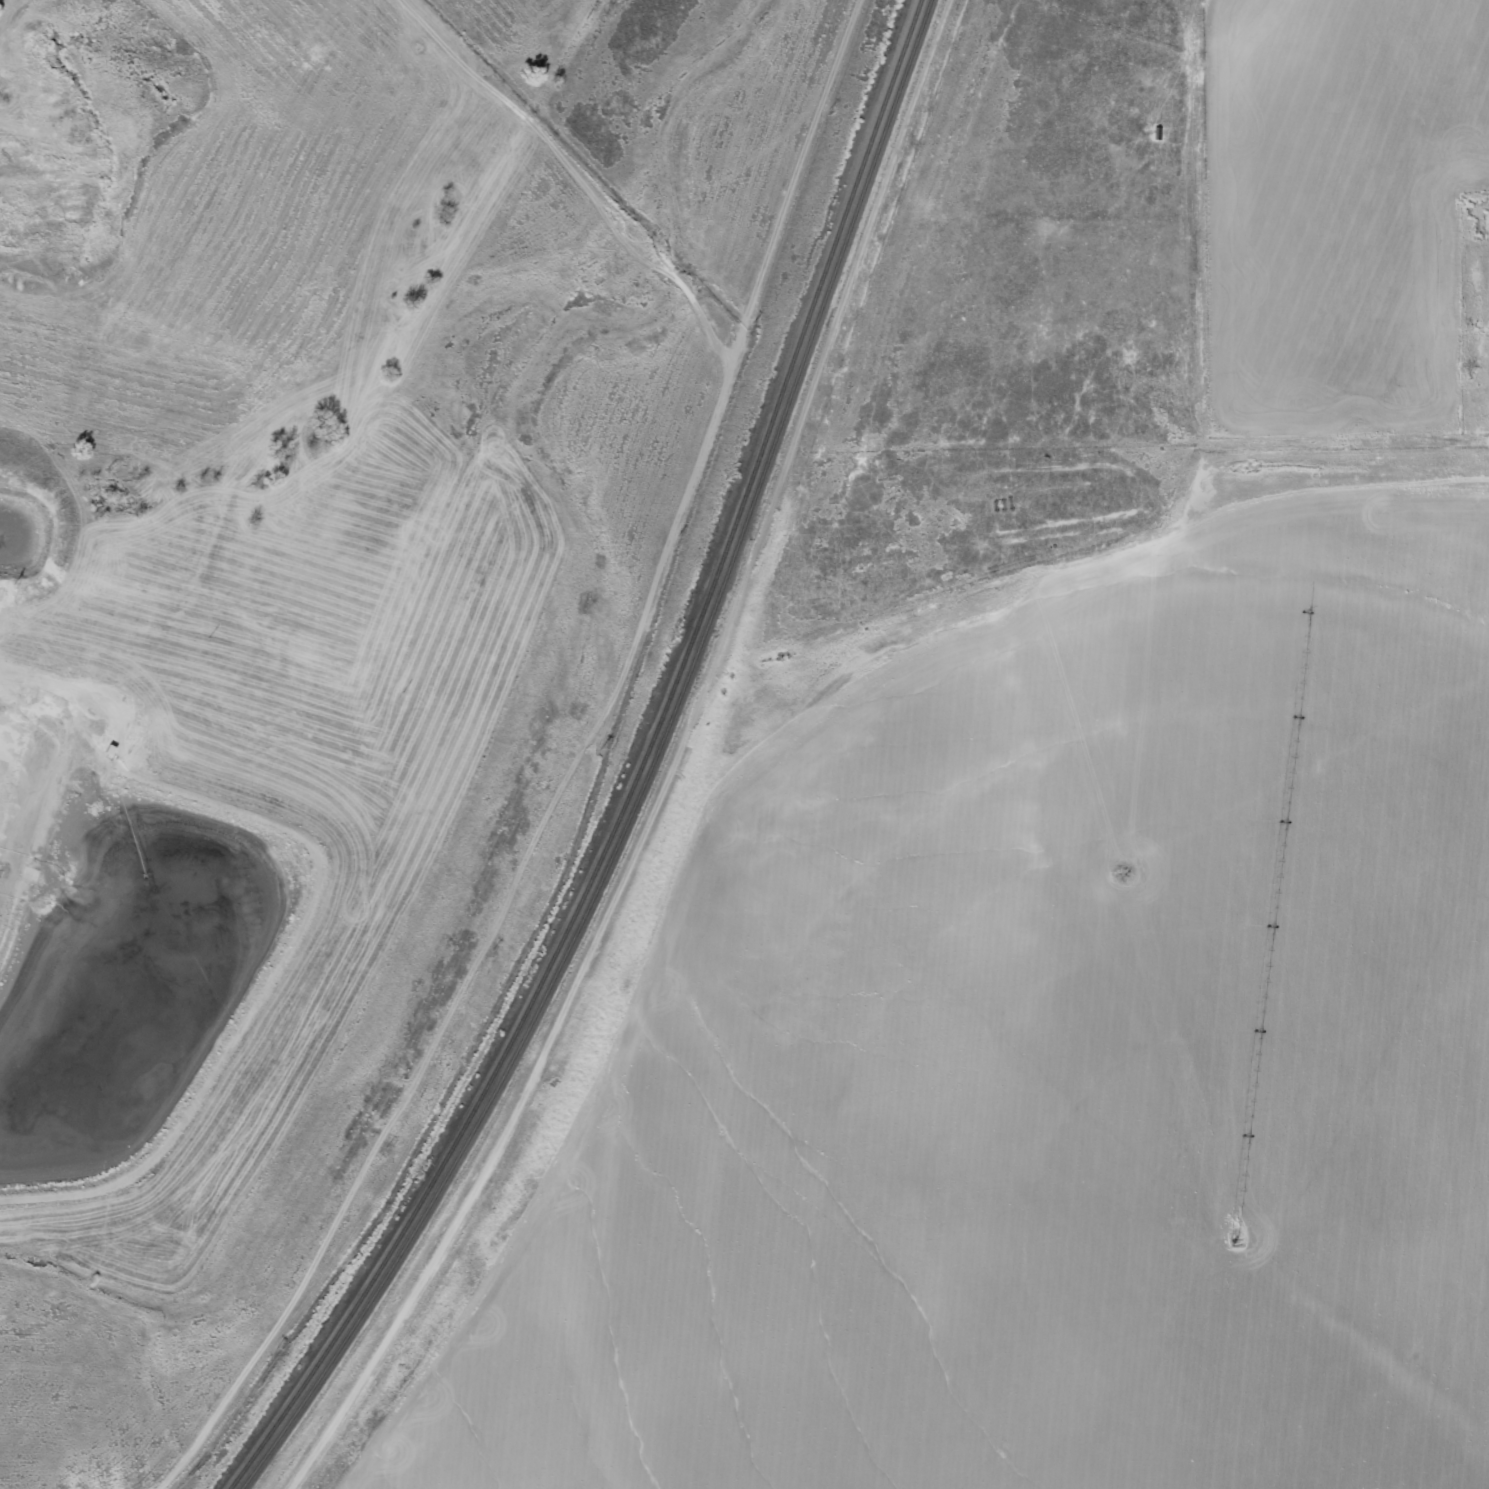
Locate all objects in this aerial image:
railway: (650, 773)
railway: (640, 775)

